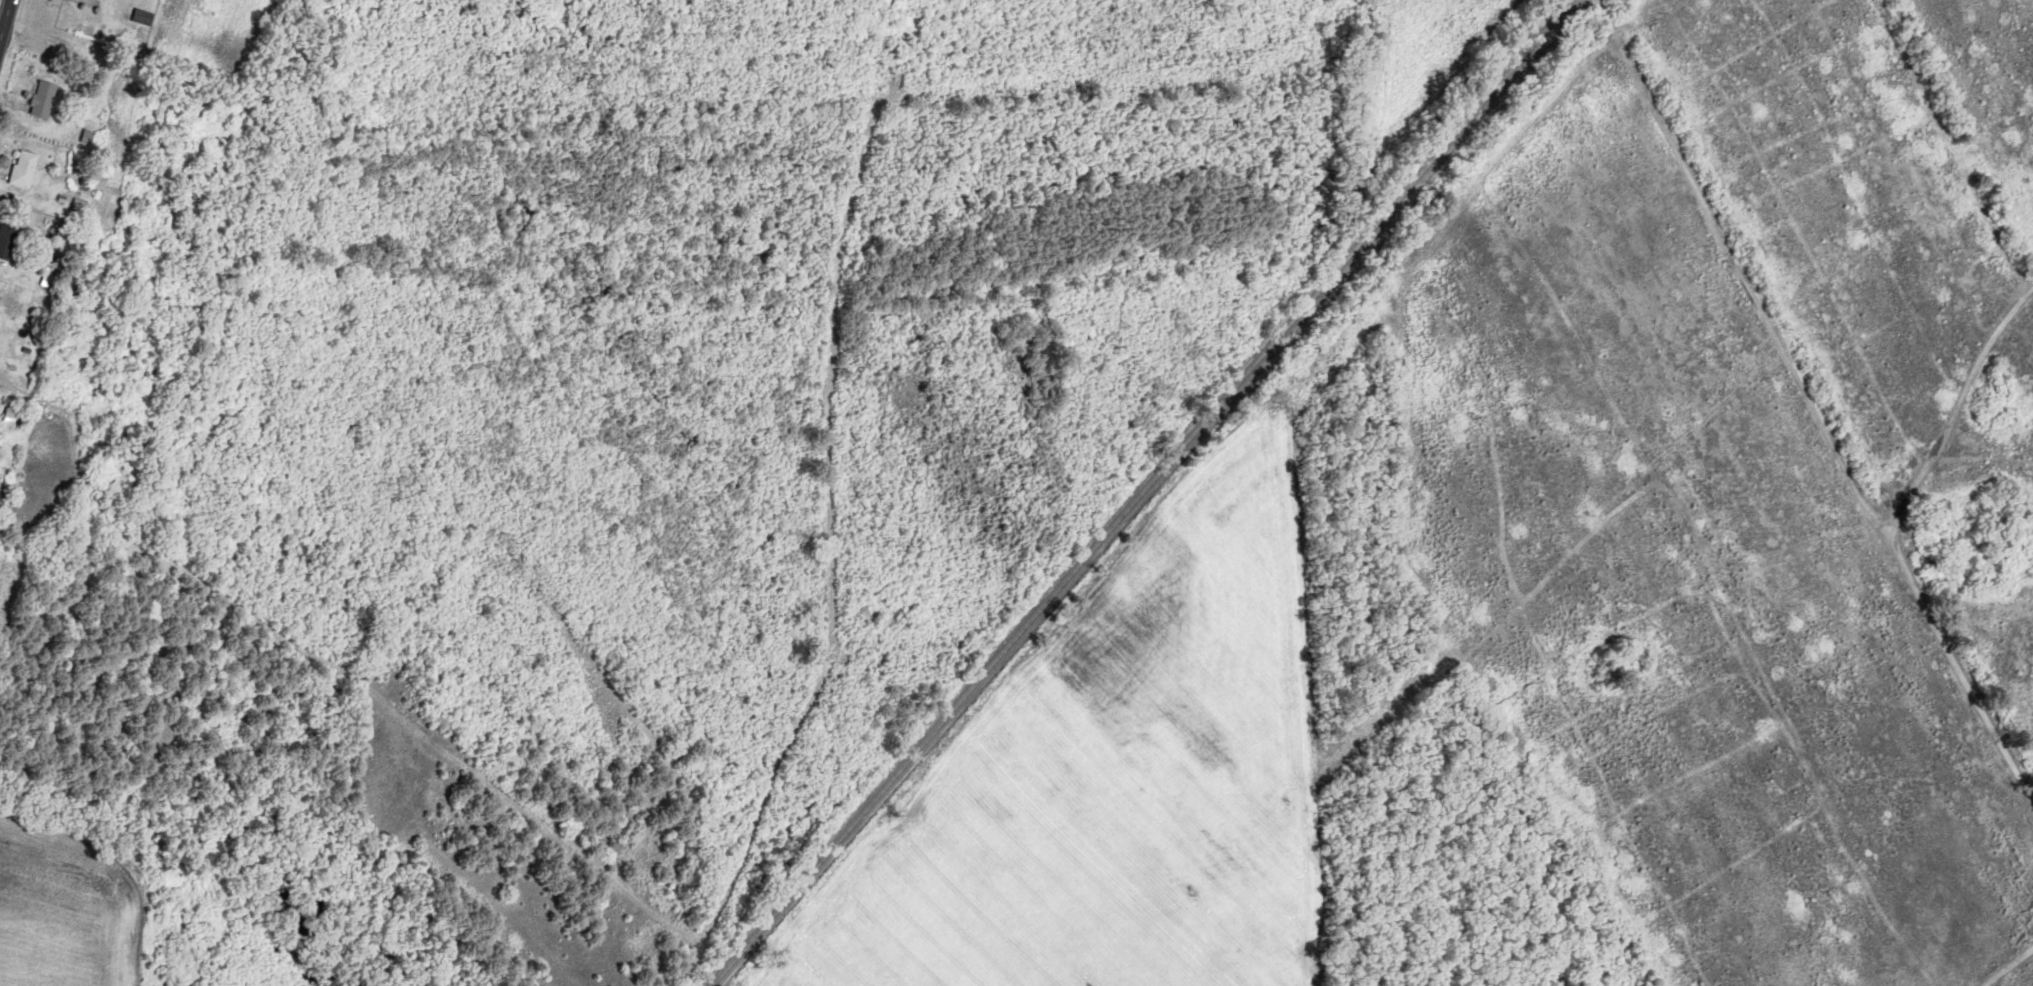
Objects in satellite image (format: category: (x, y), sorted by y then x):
road: (5, 4)
road: (6, 22)
building: (46, 100)
building: (26, 170)
building: (8, 242)
building: (0, 302)
building: (12, 419)
railway: (1148, 492)

